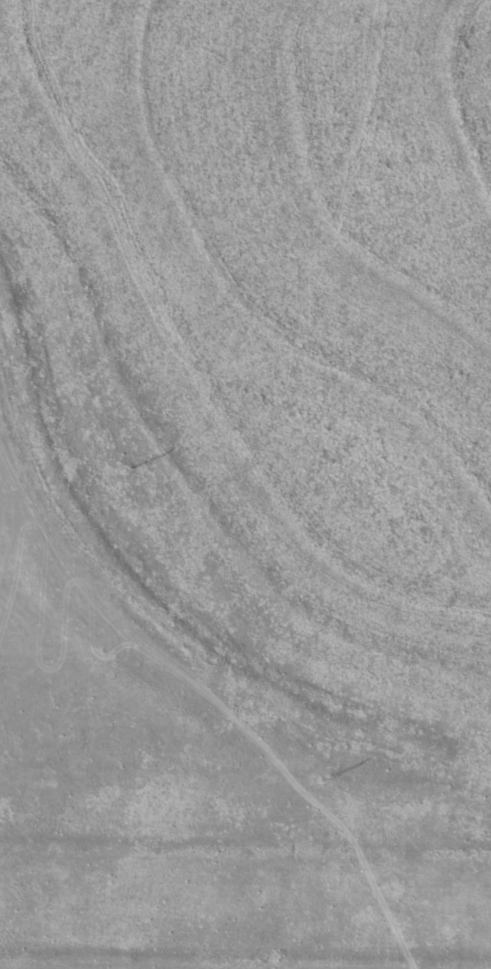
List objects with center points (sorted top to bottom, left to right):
road: (245, 260)
power tower: (129, 472)
power tower: (328, 780)

